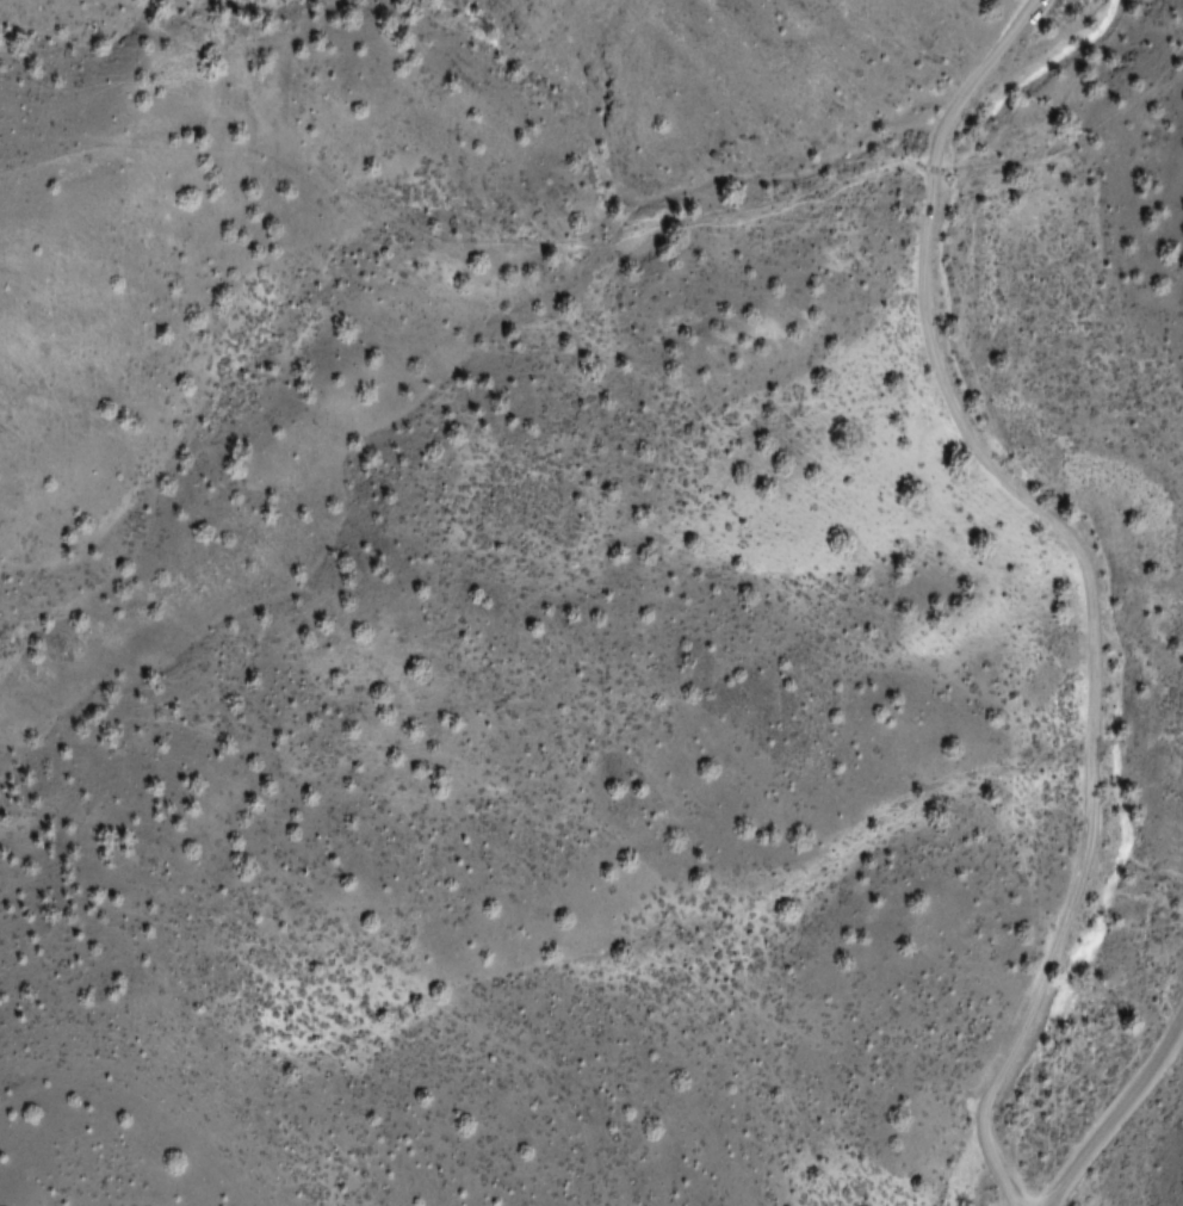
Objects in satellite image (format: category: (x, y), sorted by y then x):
road: (1089, 575)
road: (1117, 1111)

